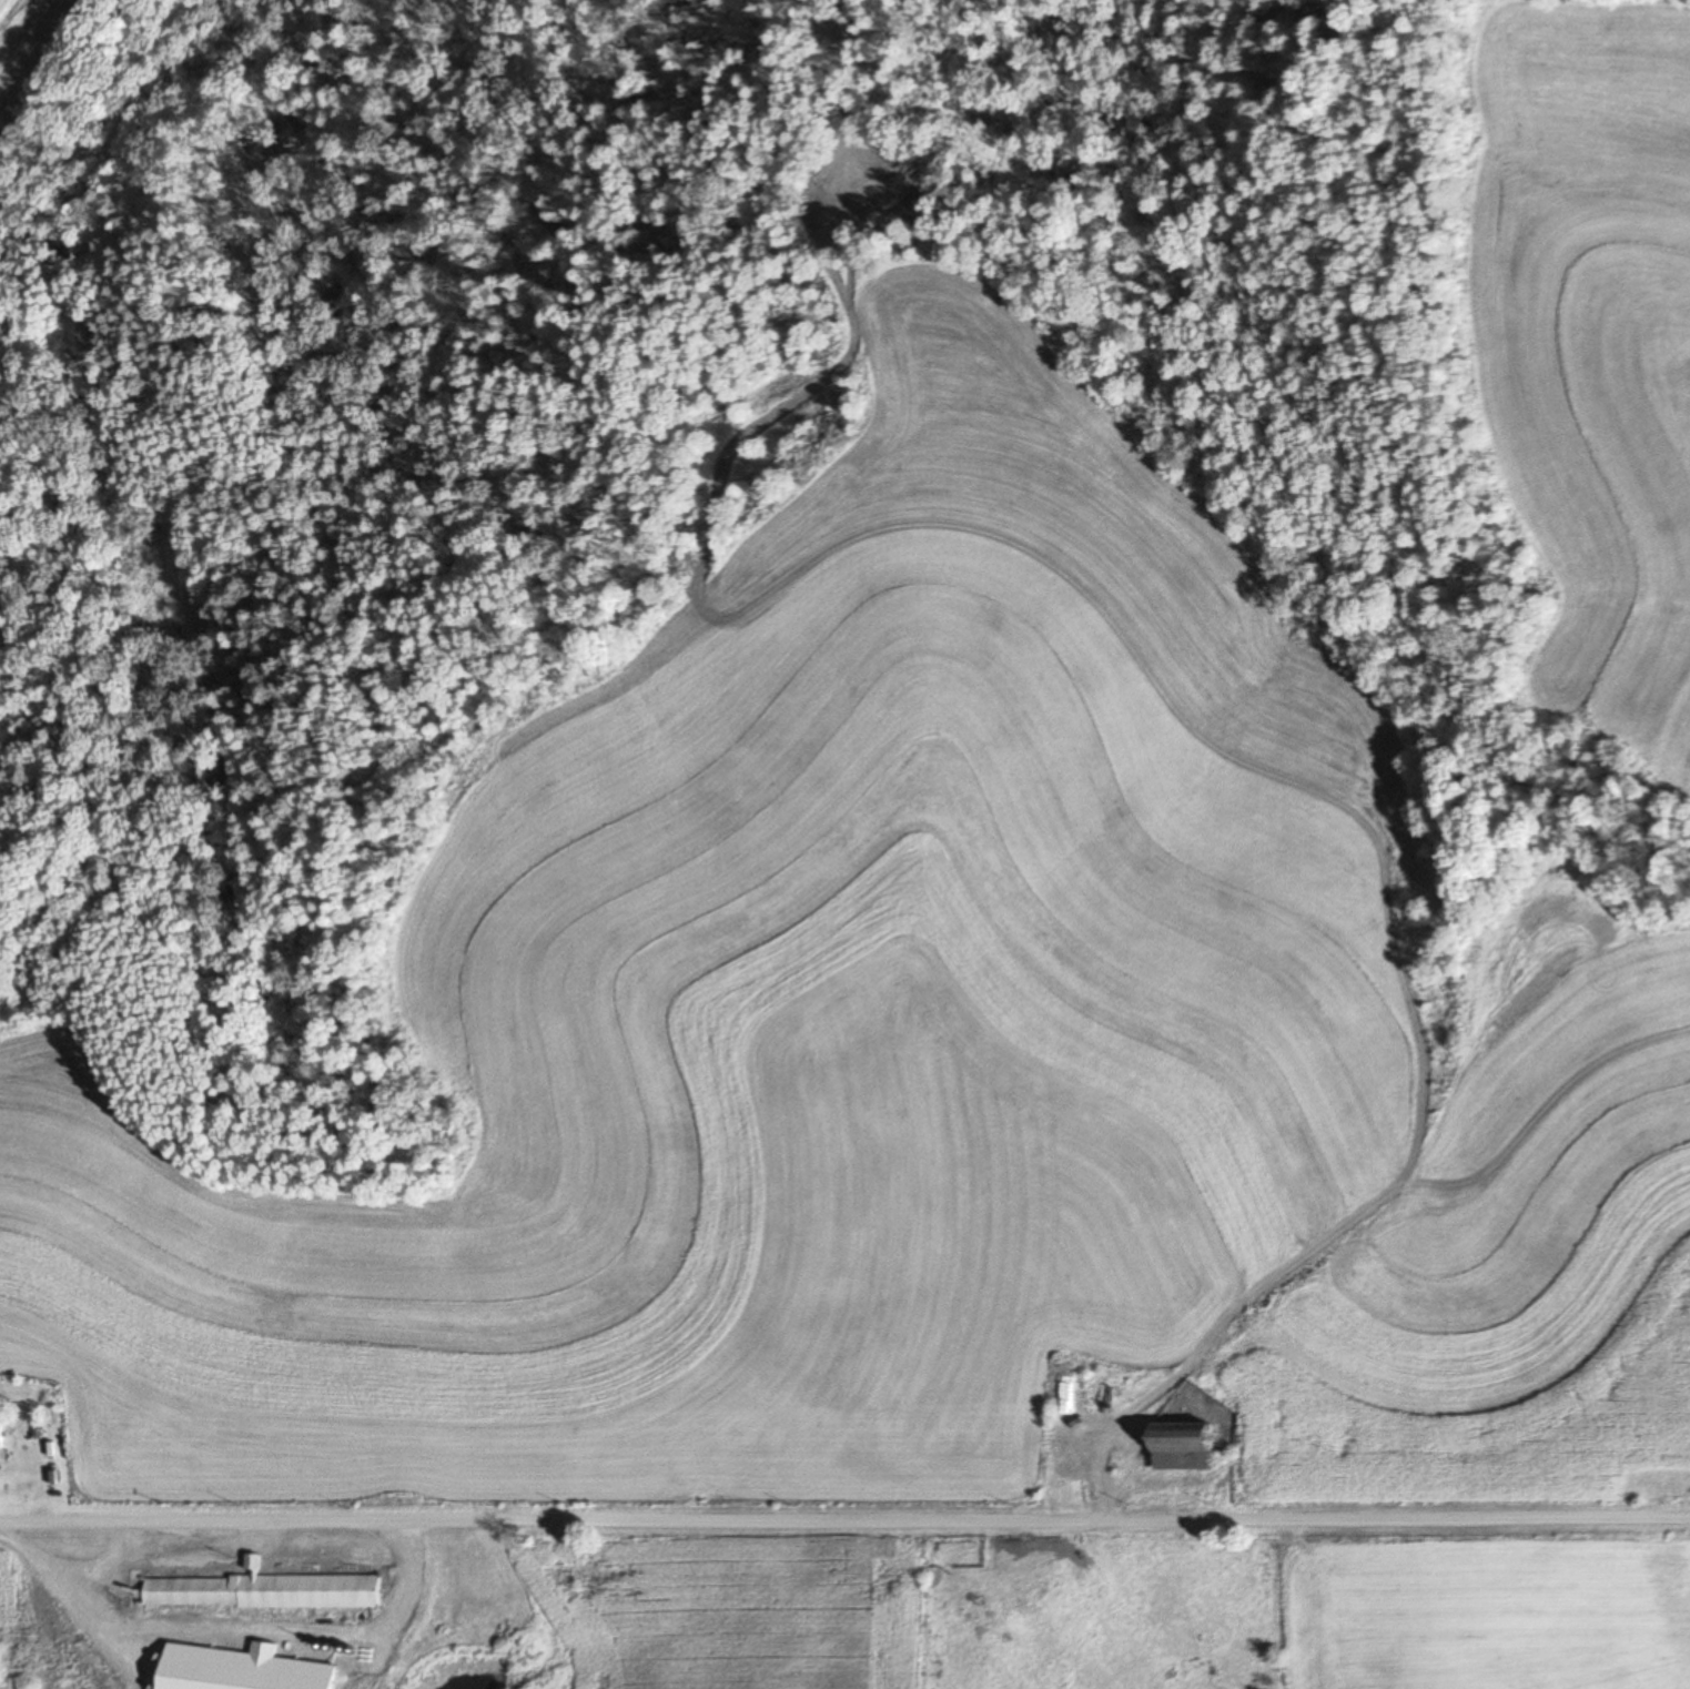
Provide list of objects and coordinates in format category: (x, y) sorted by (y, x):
road: (1379, 1208)
building: (1136, 1389)
building: (1077, 1432)
building: (1183, 1446)
road: (1101, 1489)
road: (844, 1518)
road: (220, 1544)
road: (164, 1549)
road: (402, 1553)
building: (252, 1562)
road: (78, 1567)
building: (272, 1592)

